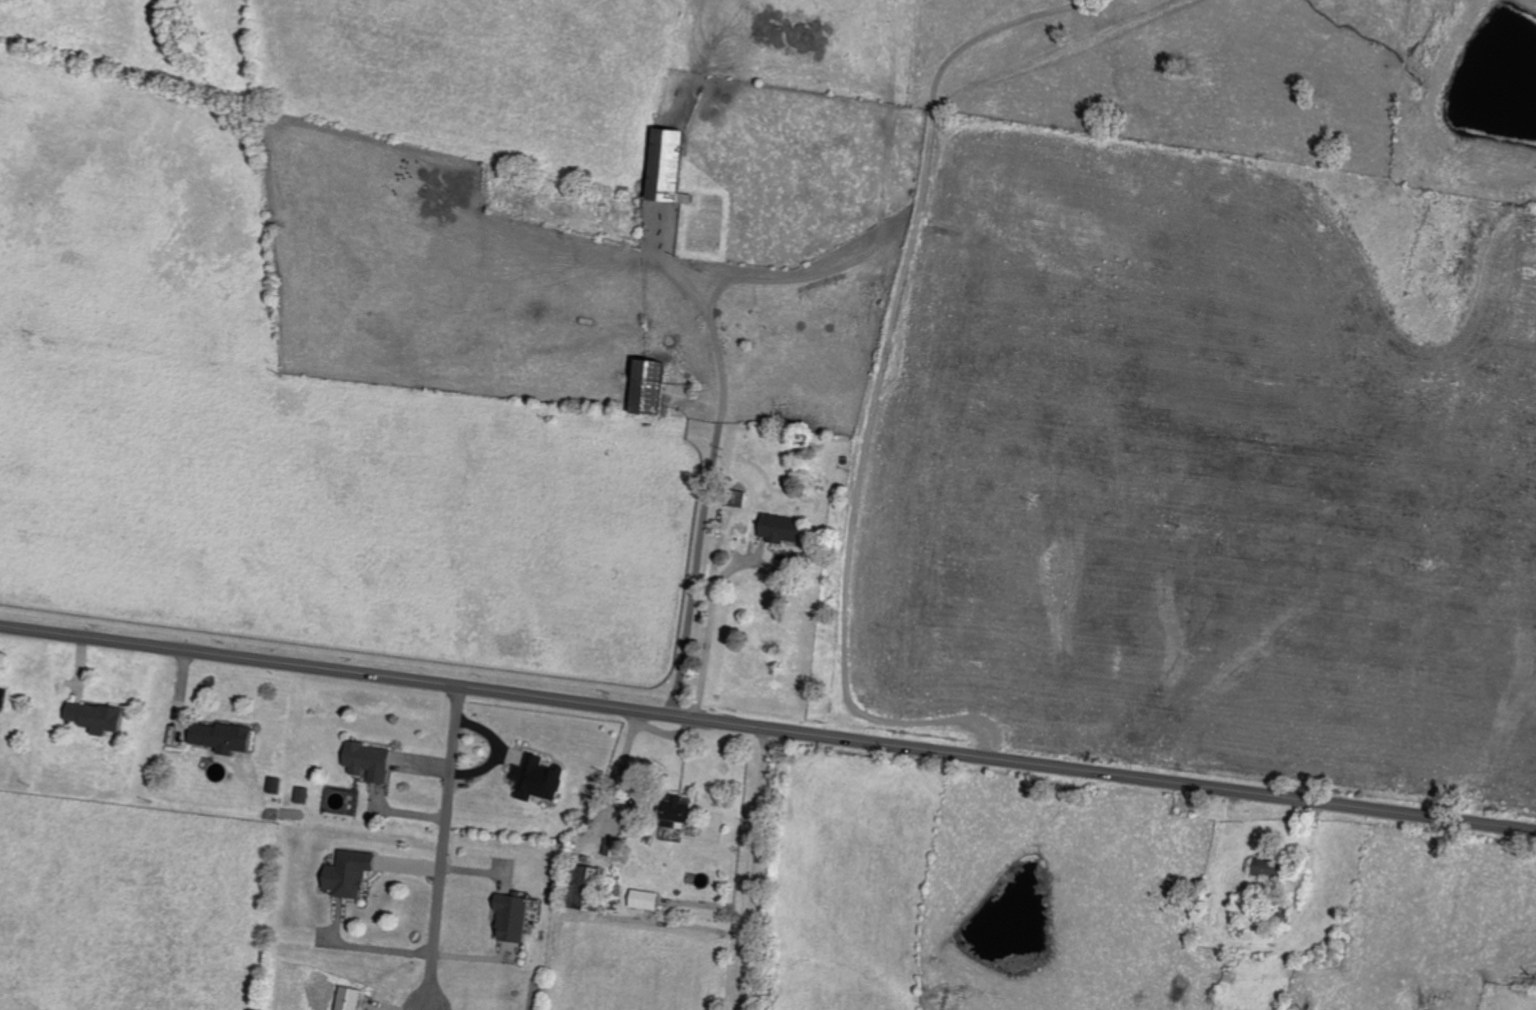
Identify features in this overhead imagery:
building: (667, 164)
road: (40, 365)
building: (650, 385)
road: (878, 385)
road: (704, 464)
building: (782, 527)
building: (3, 695)
building: (95, 716)
road: (768, 724)
building: (223, 736)
building: (370, 760)
building: (538, 778)
building: (274, 784)
building: (679, 812)
road: (449, 837)
road: (747, 866)
building: (1267, 867)
building: (350, 873)
building: (583, 885)
building: (645, 899)
building: (513, 915)
road: (367, 959)
building: (349, 998)

